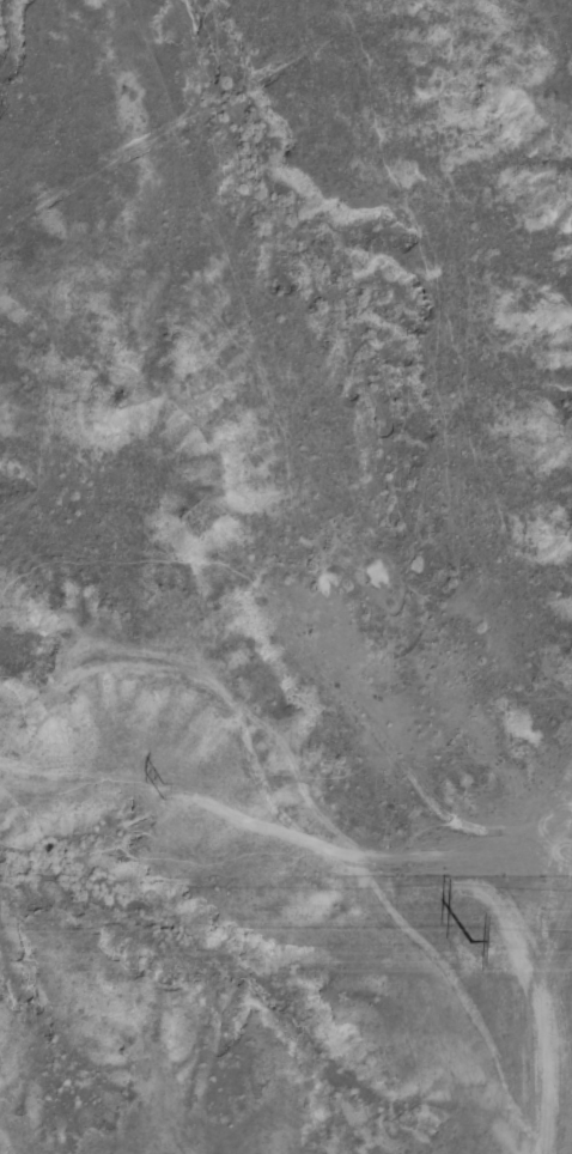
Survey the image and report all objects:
power tower: (160, 789)
power tower: (471, 941)
road: (570, 1148)

